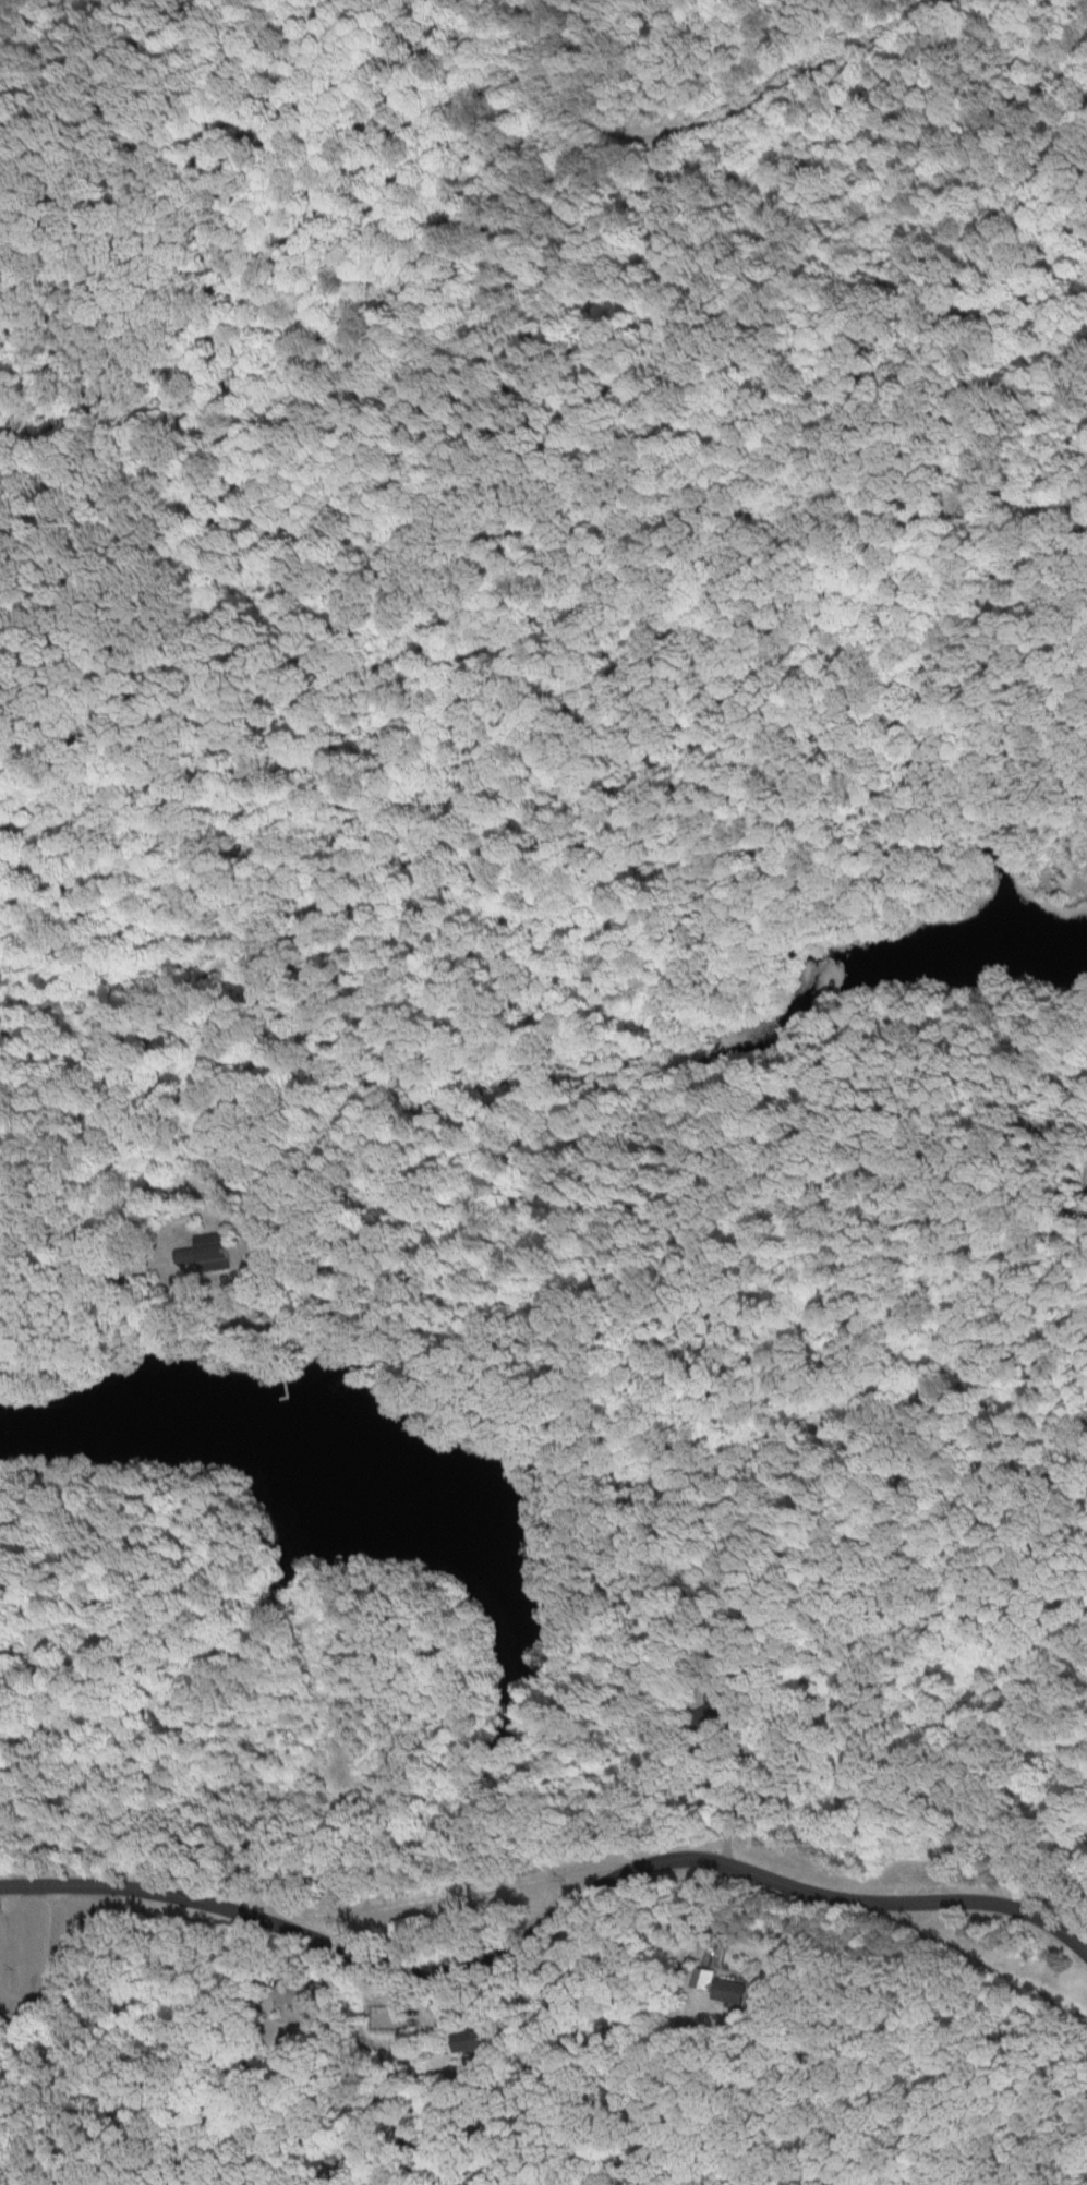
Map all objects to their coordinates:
building: (203, 1253)
building: (699, 1715)
road: (548, 1919)
road: (744, 1939)
road: (31, 1945)
road: (63, 1970)
building: (718, 1985)
building: (473, 2038)

